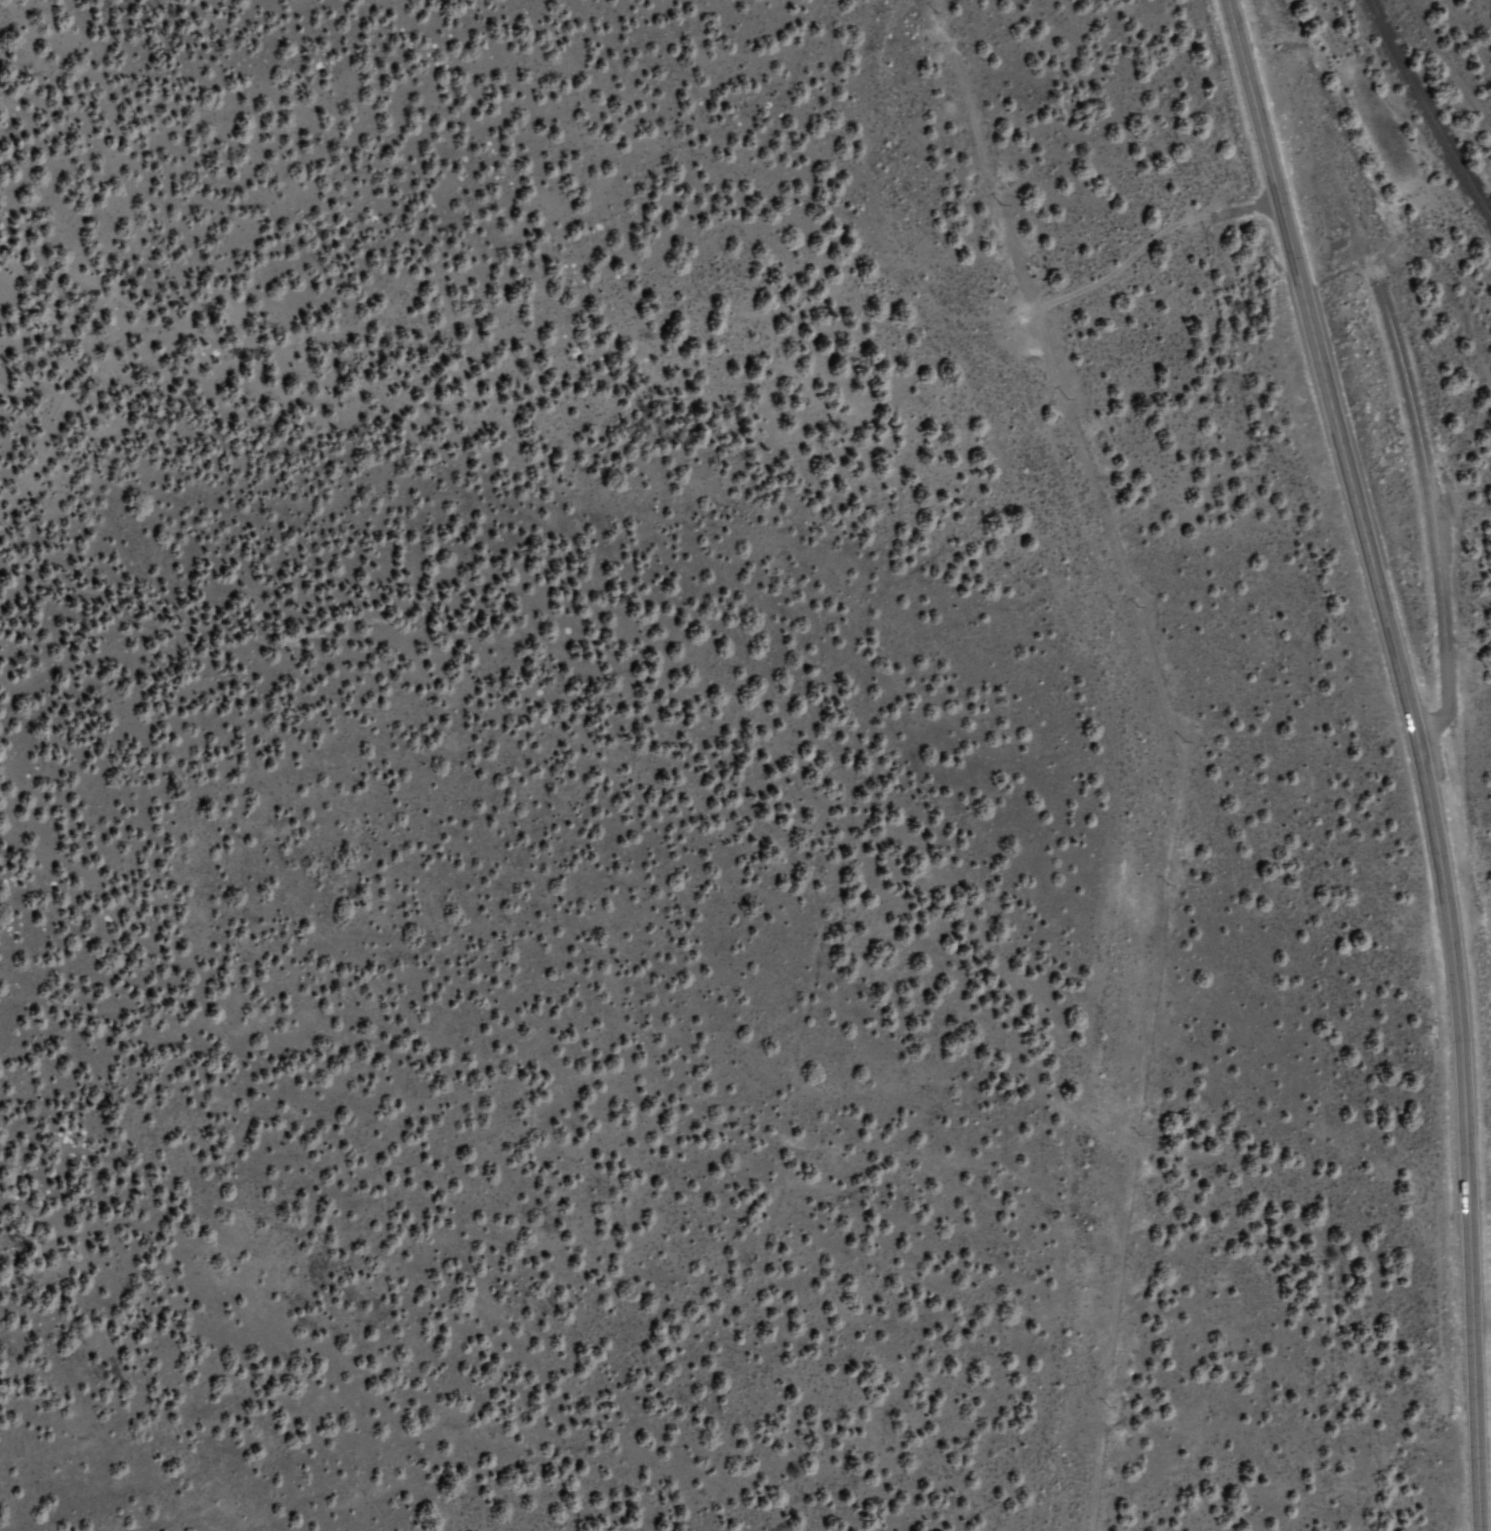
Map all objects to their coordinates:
road: (1421, 754)

